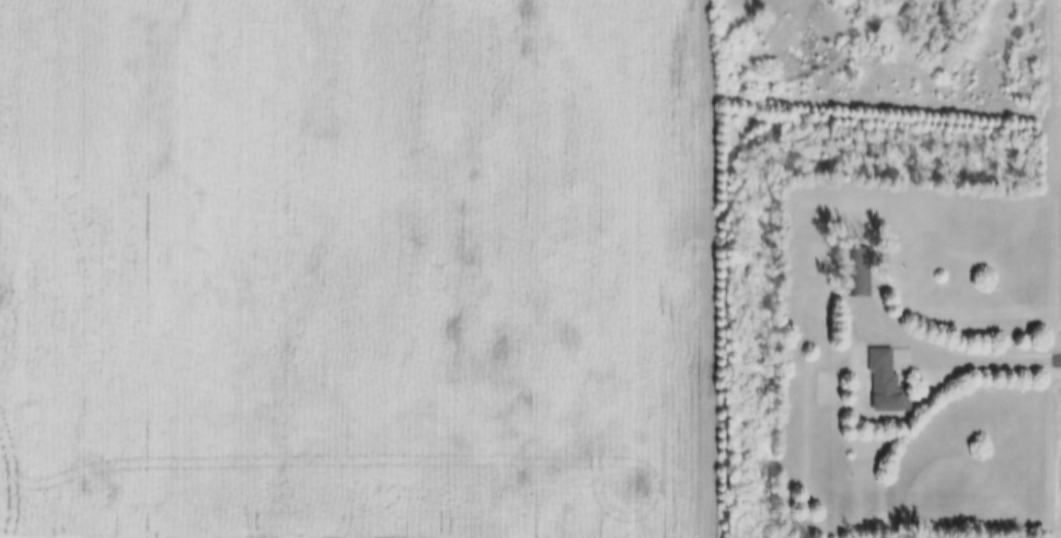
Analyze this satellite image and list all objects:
building: (860, 273)
road: (983, 355)
building: (888, 384)

